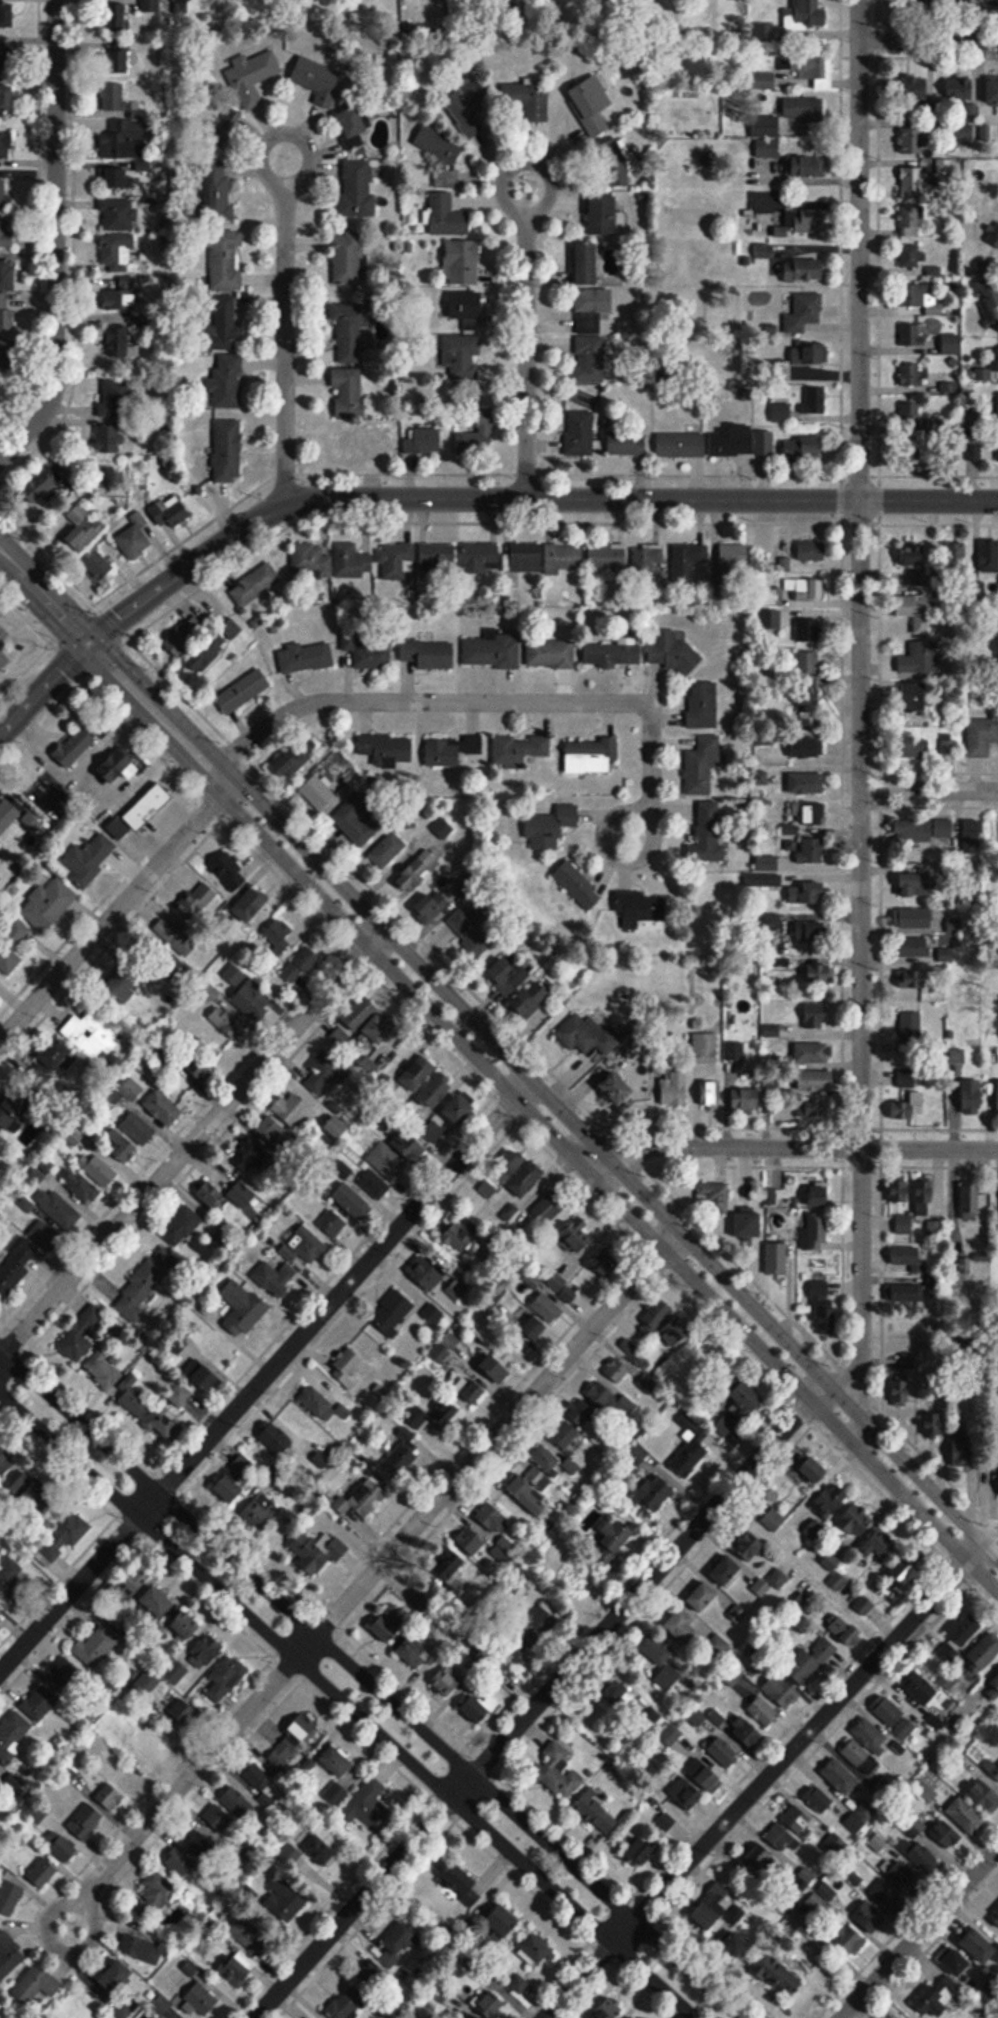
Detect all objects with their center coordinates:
building: (917, 1)
building: (959, 1)
building: (990, 1)
building: (151, 6)
building: (806, 14)
building: (7, 15)
building: (118, 17)
road: (927, 41)
building: (6, 59)
building: (118, 59)
building: (810, 69)
building: (252, 76)
building: (319, 80)
building: (763, 80)
building: (914, 88)
building: (959, 88)
building: (993, 91)
building: (115, 97)
building: (7, 98)
building: (527, 100)
building: (592, 104)
building: (468, 107)
building: (801, 116)
building: (974, 120)
building: (352, 127)
building: (122, 140)
building: (919, 140)
building: (6, 144)
building: (444, 157)
building: (609, 164)
building: (810, 166)
building: (914, 173)
building: (110, 179)
building: (358, 188)
building: (217, 191)
building: (3, 193)
building: (118, 215)
building: (448, 216)
building: (604, 216)
building: (910, 221)
building: (806, 222)
building: (754, 225)
building: (7, 234)
road: (54, 239)
building: (117, 254)
building: (909, 256)
building: (225, 260)
building: (348, 260)
building: (463, 263)
building: (587, 264)
building: (804, 270)
building: (933, 271)
building: (7, 276)
building: (120, 293)
building: (924, 299)
building: (989, 300)
building: (466, 306)
building: (592, 309)
building: (5, 313)
building: (803, 313)
road: (284, 315)
building: (223, 322)
road: (526, 325)
building: (351, 334)
building: (911, 334)
building: (120, 343)
building: (951, 344)
building: (7, 355)
building: (461, 356)
building: (809, 356)
building: (590, 359)
building: (991, 362)
building: (912, 378)
building: (226, 382)
building: (949, 388)
building: (348, 395)
building: (117, 396)
building: (801, 405)
building: (912, 414)
building: (579, 433)
building: (478, 436)
building: (109, 438)
building: (357, 441)
building: (423, 441)
building: (732, 441)
building: (627, 442)
building: (765, 444)
building: (681, 445)
building: (974, 449)
building: (227, 450)
building: (805, 450)
road: (456, 497)
building: (171, 513)
building: (83, 530)
building: (135, 542)
building: (811, 551)
building: (913, 554)
building: (954, 555)
building: (989, 555)
building: (733, 556)
building: (437, 557)
building: (481, 557)
building: (607, 557)
building: (524, 558)
building: (563, 558)
building: (646, 559)
building: (310, 561)
building: (395, 561)
building: (687, 561)
building: (351, 562)
building: (100, 567)
building: (918, 578)
building: (254, 585)
building: (798, 591)
building: (947, 595)
building: (915, 611)
building: (776, 619)
building: (808, 631)
building: (183, 638)
building: (214, 645)
building: (672, 652)
building: (491, 653)
building: (429, 654)
building: (551, 654)
building: (612, 654)
building: (372, 655)
building: (305, 657)
building: (919, 659)
building: (807, 662)
building: (243, 692)
building: (809, 700)
building: (918, 700)
road: (511, 701)
building: (702, 704)
road: (859, 707)
building: (982, 736)
building: (949, 744)
building: (74, 747)
building: (807, 747)
building: (914, 747)
building: (388, 750)
building: (519, 750)
building: (454, 751)
building: (590, 756)
building: (291, 763)
building: (119, 765)
building: (702, 767)
building: (807, 783)
road: (928, 788)
building: (318, 792)
building: (125, 799)
building: (148, 807)
building: (807, 815)
building: (8, 816)
building: (362, 824)
building: (550, 827)
building: (118, 829)
building: (440, 830)
building: (923, 830)
building: (709, 832)
building: (972, 835)
building: (387, 850)
building: (811, 850)
building: (89, 859)
building: (767, 862)
building: (230, 870)
building: (418, 871)
building: (763, 879)
building: (577, 884)
building: (917, 885)
building: (807, 893)
building: (195, 900)
building: (48, 904)
building: (251, 904)
road: (117, 906)
building: (436, 906)
building: (642, 909)
building: (914, 918)
building: (470, 926)
building: (810, 930)
building: (16, 931)
building: (278, 935)
building: (177, 937)
building: (914, 947)
building: (9, 960)
building: (301, 964)
building: (820, 972)
building: (508, 975)
building: (910, 980)
building: (0, 983)
building: (121, 983)
building: (531, 999)
building: (252, 1001)
building: (816, 1015)
building: (364, 1024)
building: (910, 1026)
building: (575, 1029)
building: (90, 1033)
road: (499, 1045)
building: (705, 1048)
building: (734, 1050)
building: (813, 1052)
building: (55, 1054)
building: (202, 1064)
building: (370, 1065)
building: (322, 1072)
building: (418, 1073)
building: (906, 1078)
road: (498, 1080)
building: (815, 1080)
building: (618, 1088)
building: (674, 1088)
building: (131, 1090)
building: (436, 1090)
building: (965, 1090)
building: (709, 1093)
building: (993, 1095)
building: (745, 1099)
building: (909, 1107)
building: (14, 1108)
building: (163, 1108)
building: (812, 1110)
building: (305, 1111)
building: (448, 1119)
building: (139, 1128)
building: (272, 1132)
building: (28, 1133)
building: (0, 1139)
road: (191, 1139)
building: (409, 1145)
building: (119, 1146)
road: (800, 1147)
building: (252, 1155)
building: (388, 1163)
building: (101, 1171)
building: (527, 1179)
building: (374, 1186)
building: (82, 1188)
building: (487, 1189)
building: (899, 1191)
building: (211, 1194)
building: (818, 1194)
building: (715, 1195)
building: (924, 1197)
building: (352, 1202)
building: (963, 1202)
building: (551, 1206)
building: (997, 1207)
building: (59, 1209)
building: (508, 1213)
building: (332, 1223)
building: (751, 1225)
building: (903, 1225)
building: (181, 1227)
building: (815, 1232)
building: (931, 1232)
building: (577, 1236)
building: (458, 1238)
building: (308, 1245)
building: (782, 1256)
building: (25, 1258)
building: (910, 1258)
building: (608, 1262)
building: (426, 1273)
building: (274, 1279)
building: (145, 1285)
building: (578, 1287)
building: (907, 1293)
building: (824, 1306)
building: (547, 1307)
building: (243, 1308)
building: (394, 1313)
building: (657, 1314)
building: (534, 1328)
building: (80, 1335)
building: (644, 1351)
building: (907, 1359)
building: (348, 1367)
building: (496, 1368)
building: (103, 1370)
building: (617, 1371)
road: (265, 1374)
building: (206, 1378)
building: (474, 1390)
building: (901, 1390)
building: (600, 1395)
building: (179, 1397)
building: (132, 1399)
building: (317, 1403)
building: (740, 1408)
building: (581, 1412)
building: (435, 1415)
building: (162, 1422)
road: (498, 1431)
building: (563, 1433)
building: (275, 1439)
building: (405, 1450)
building: (690, 1456)
building: (545, 1459)
building: (4, 1460)
building: (814, 1470)
building: (995, 1482)
building: (232, 1487)
building: (531, 1491)
building: (654, 1494)
building: (362, 1500)
building: (831, 1502)
building: (260, 1514)
building: (773, 1520)
building: (853, 1521)
building: (488, 1528)
building: (65, 1534)
building: (616, 1539)
road: (992, 1544)
building: (750, 1547)
building: (878, 1548)
building: (320, 1553)
building: (830, 1562)
building: (451, 1566)
building: (726, 1572)
building: (905, 1574)
building: (11, 1580)
building: (837, 1582)
building: (703, 1597)
building: (158, 1601)
building: (185, 1625)
building: (537, 1625)
building: (388, 1627)
building: (682, 1627)
building: (961, 1634)
building: (94, 1645)
building: (985, 1652)
building: (414, 1653)
building: (195, 1658)
building: (661, 1663)
building: (807, 1663)
building: (65, 1674)
road: (381, 1674)
building: (226, 1677)
building: (147, 1682)
building: (448, 1682)
road: (372, 1684)
building: (993, 1688)
building: (920, 1689)
building: (781, 1691)
building: (618, 1695)
road: (539, 1699)
building: (40, 1702)
road: (347, 1705)
building: (480, 1708)
building: (763, 1712)
building: (185, 1714)
road: (336, 1715)
building: (696, 1718)
building: (896, 1720)
building: (746, 1732)
building: (13, 1733)
building: (670, 1735)
building: (872, 1736)
building: (153, 1741)
building: (290, 1744)
building: (724, 1753)
building: (860, 1758)
building: (337, 1762)
road: (197, 1767)
building: (1, 1768)
building: (991, 1768)
building: (557, 1772)
building: (128, 1773)
building: (704, 1775)
building: (257, 1777)
building: (840, 1777)
road: (763, 1780)
building: (686, 1793)
building: (336, 1794)
building: (110, 1796)
building: (821, 1800)
building: (363, 1801)
building: (237, 1803)
building: (35, 1811)
building: (597, 1814)
building: (966, 1815)
building: (218, 1818)
building: (86, 1820)
building: (800, 1822)
building: (946, 1835)
building: (782, 1838)
building: (197, 1843)
building: (834, 1844)
building: (61, 1845)
building: (320, 1850)
building: (643, 1852)
building: (291, 1854)
building: (924, 1857)
building: (762, 1860)
building: (179, 1864)
building: (43, 1871)
building: (904, 1877)
building: (468, 1884)
building: (11, 1894)
building: (155, 1895)
building: (887, 1898)
building: (285, 1902)
road: (57, 1904)
building: (712, 1906)
building: (996, 1917)
building: (504, 1922)
building: (861, 1929)
road: (919, 1932)
building: (735, 1943)
building: (978, 1944)
building: (397, 1946)
building: (538, 1949)
building: (141, 1950)
building: (9, 1955)
building: (957, 1963)
building: (238, 1968)
building: (371, 1975)
building: (116, 1977)
building: (37, 1984)
building: (519, 1984)
building: (439, 1991)
building: (200, 1992)
building: (937, 1998)
building: (344, 2003)
building: (491, 2006)
building: (607, 2009)
building: (308, 2017)
building: (630, 2017)

